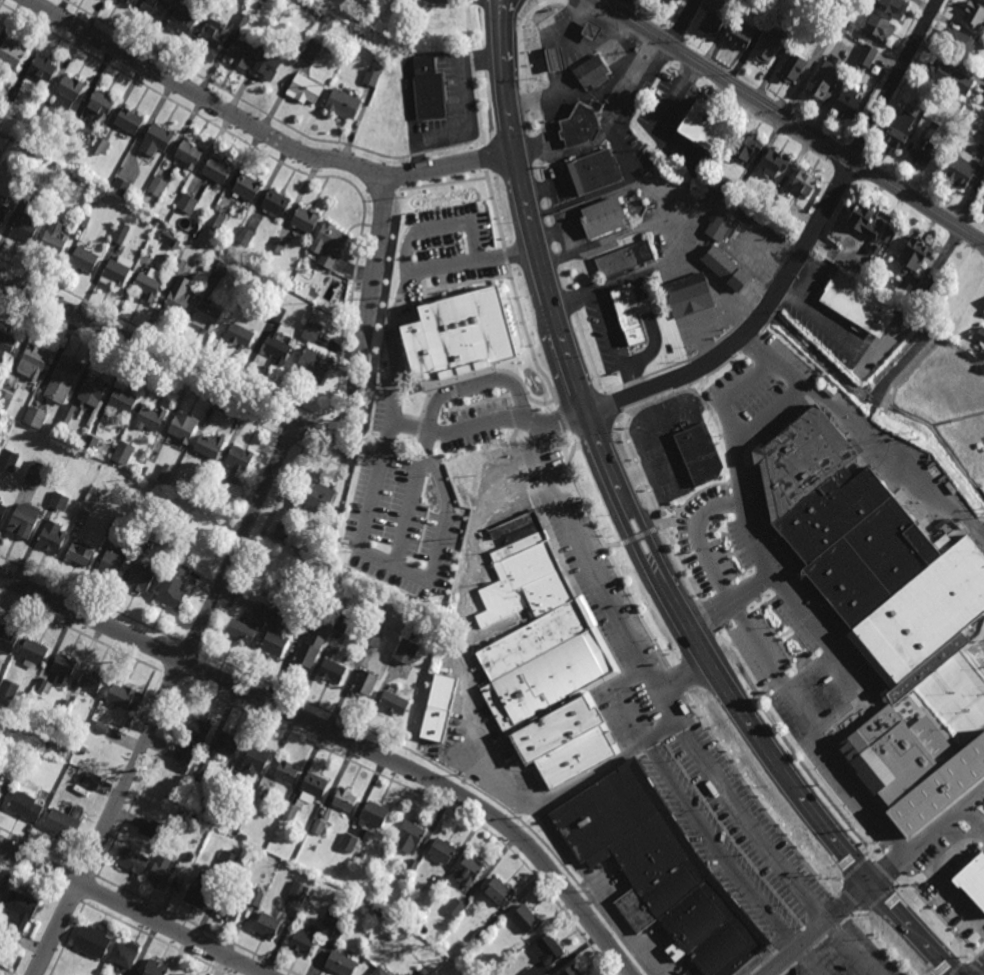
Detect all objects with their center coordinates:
building: (128, 1)
building: (673, 2)
road: (618, 6)
building: (893, 6)
building: (153, 8)
road: (502, 11)
road: (507, 11)
building: (974, 14)
road: (676, 15)
building: (327, 17)
road: (573, 17)
building: (183, 19)
building: (242, 19)
road: (683, 23)
building: (712, 23)
building: (848, 23)
building: (795, 26)
building: (880, 26)
building: (592, 29)
building: (740, 33)
building: (212, 35)
road: (558, 35)
road: (666, 36)
building: (361, 39)
building: (958, 41)
building: (767, 45)
building: (313, 48)
building: (12, 52)
building: (241, 53)
building: (867, 55)
building: (555, 58)
building: (267, 65)
building: (794, 67)
building: (42, 68)
road: (886, 70)
building: (398, 72)
building: (592, 73)
road: (472, 74)
road: (630, 74)
road: (908, 76)
building: (950, 76)
building: (371, 77)
building: (820, 87)
building: (305, 88)
road: (892, 88)
building: (429, 89)
road: (598, 91)
building: (68, 92)
building: (12, 94)
building: (939, 97)
building: (983, 98)
building: (344, 102)
building: (848, 103)
building: (924, 105)
building: (99, 106)
building: (42, 111)
building: (129, 120)
road: (789, 120)
building: (581, 124)
building: (708, 124)
building: (71, 127)
building: (900, 130)
road: (260, 131)
building: (156, 140)
building: (100, 147)
building: (746, 147)
road: (845, 147)
building: (923, 152)
building: (189, 153)
road: (567, 153)
building: (983, 154)
road: (624, 156)
road: (864, 159)
road: (482, 160)
building: (775, 164)
building: (218, 170)
building: (964, 170)
building: (3, 172)
building: (594, 172)
building: (73, 181)
building: (804, 183)
building: (120, 186)
building: (724, 186)
building: (158, 187)
building: (247, 188)
building: (25, 194)
building: (983, 200)
building: (187, 203)
building: (276, 203)
building: (983, 203)
building: (4, 213)
building: (604, 218)
building: (305, 219)
building: (152, 220)
building: (216, 220)
building: (84, 221)
building: (863, 221)
building: (27, 222)
road: (666, 225)
building: (722, 225)
road: (437, 229)
building: (121, 233)
building: (245, 236)
building: (54, 237)
building: (171, 239)
building: (329, 243)
building: (277, 245)
building: (877, 248)
building: (915, 253)
building: (626, 258)
building: (84, 259)
road: (471, 261)
road: (661, 264)
building: (180, 266)
building: (219, 267)
building: (307, 269)
building: (726, 269)
building: (117, 272)
building: (146, 287)
road: (591, 293)
building: (920, 295)
building: (178, 296)
building: (689, 296)
road: (571, 300)
building: (860, 304)
road: (645, 306)
building: (276, 313)
building: (630, 313)
building: (206, 315)
road: (772, 316)
road: (824, 323)
road: (763, 328)
road: (749, 331)
building: (311, 332)
building: (240, 335)
building: (980, 335)
building: (465, 337)
road: (752, 340)
building: (7, 342)
building: (278, 350)
road: (649, 350)
building: (32, 362)
building: (313, 366)
dam: (902, 370)
road: (634, 378)
building: (63, 380)
road: (747, 381)
road: (702, 382)
road: (475, 387)
building: (93, 390)
building: (5, 397)
building: (122, 399)
building: (68, 412)
road: (769, 412)
building: (35, 416)
building: (150, 416)
road: (285, 418)
road: (398, 420)
road: (564, 422)
building: (182, 427)
road: (866, 432)
building: (36, 437)
building: (91, 443)
building: (209, 445)
building: (123, 451)
building: (700, 453)
building: (154, 455)
road: (318, 455)
building: (8, 458)
building: (239, 461)
building: (36, 470)
road: (286, 479)
building: (215, 485)
building: (317, 494)
building: (59, 500)
building: (2, 509)
building: (83, 516)
building: (23, 519)
building: (116, 529)
building: (154, 531)
building: (282, 531)
building: (51, 535)
road: (640, 539)
building: (867, 550)
building: (80, 552)
road: (610, 555)
road: (762, 561)
building: (111, 563)
road: (402, 566)
building: (140, 577)
building: (172, 586)
road: (730, 601)
building: (259, 609)
building: (274, 611)
road: (733, 611)
building: (378, 614)
building: (307, 623)
building: (341, 623)
building: (241, 630)
building: (372, 637)
building: (7, 639)
building: (274, 641)
building: (407, 650)
building: (307, 651)
building: (33, 652)
building: (547, 656)
building: (63, 667)
building: (332, 670)
road: (683, 678)
building: (91, 680)
building: (363, 682)
building: (45, 686)
building: (8, 688)
building: (121, 695)
road: (163, 698)
road: (620, 700)
building: (394, 701)
building: (66, 704)
building: (948, 705)
building: (439, 706)
road: (674, 720)
building: (102, 727)
road: (474, 730)
road: (659, 731)
road: (343, 736)
building: (192, 742)
building: (228, 744)
building: (891, 754)
building: (255, 759)
building: (286, 770)
building: (200, 771)
building: (80, 777)
road: (588, 777)
building: (92, 781)
building: (0, 787)
building: (308, 793)
building: (937, 794)
building: (171, 797)
road: (857, 797)
building: (345, 798)
building: (25, 806)
building: (220, 811)
building: (374, 814)
building: (65, 821)
road: (974, 822)
building: (233, 825)
building: (319, 826)
building: (151, 828)
building: (244, 836)
building: (410, 836)
road: (929, 841)
building: (350, 842)
building: (442, 851)
building: (190, 852)
building: (205, 856)
building: (361, 857)
road: (729, 859)
building: (132, 860)
building: (229, 860)
building: (412, 866)
building: (658, 870)
building: (162, 871)
building: (467, 872)
road: (937, 877)
building: (973, 880)
building: (439, 882)
traffic signals: (871, 885)
building: (202, 887)
building: (299, 889)
building: (3, 890)
building: (499, 891)
building: (256, 897)
building: (474, 901)
building: (456, 907)
building: (231, 908)
road: (132, 909)
building: (25, 917)
building: (525, 918)
building: (330, 919)
building: (268, 925)
road: (818, 929)
building: (477, 937)
building: (305, 939)
building: (92, 941)
building: (514, 949)
building: (548, 949)
building: (124, 954)
building: (341, 963)
building: (156, 967)
building: (425, 967)
building: (571, 970)
road: (978, 970)
building: (381, 971)
building: (530, 971)
road: (813, 973)
building: (182, 974)

